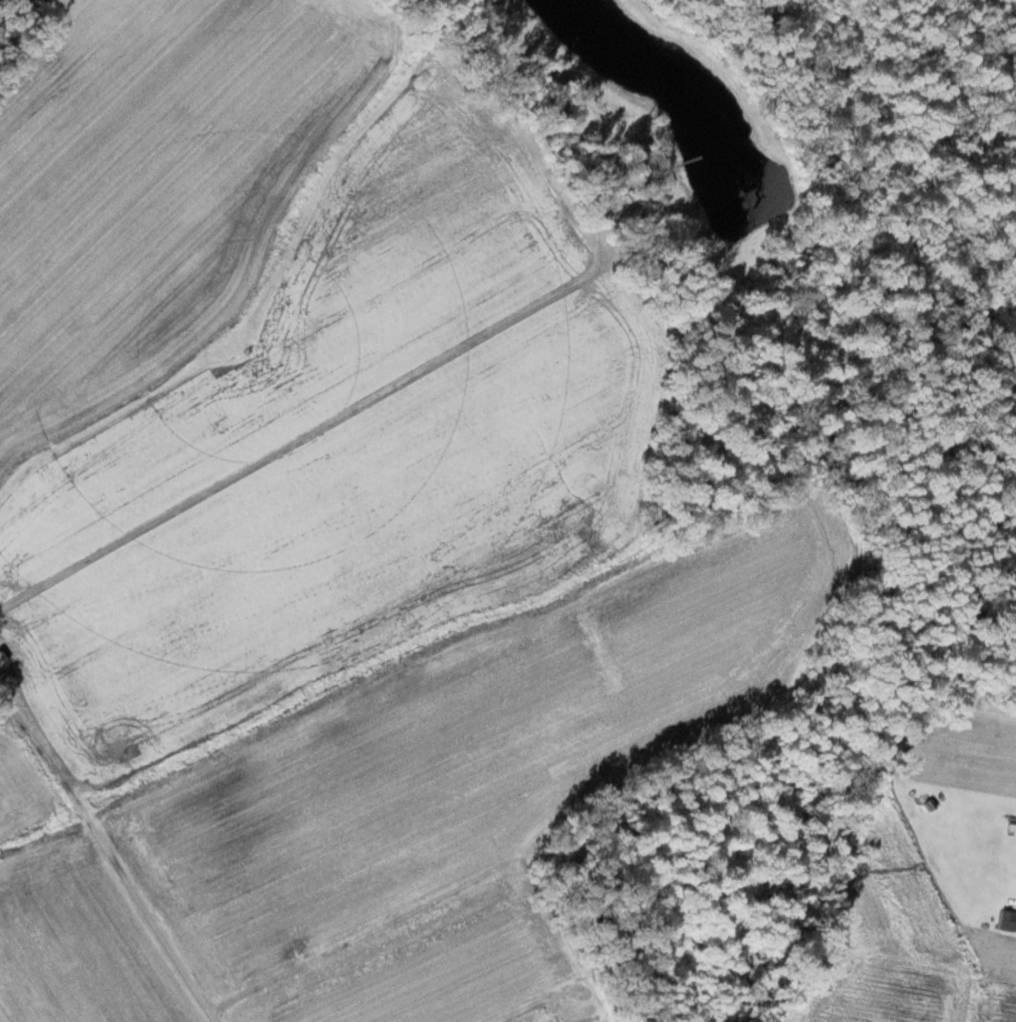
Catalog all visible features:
building: (659, 181)
road: (159, 852)
building: (1011, 922)

